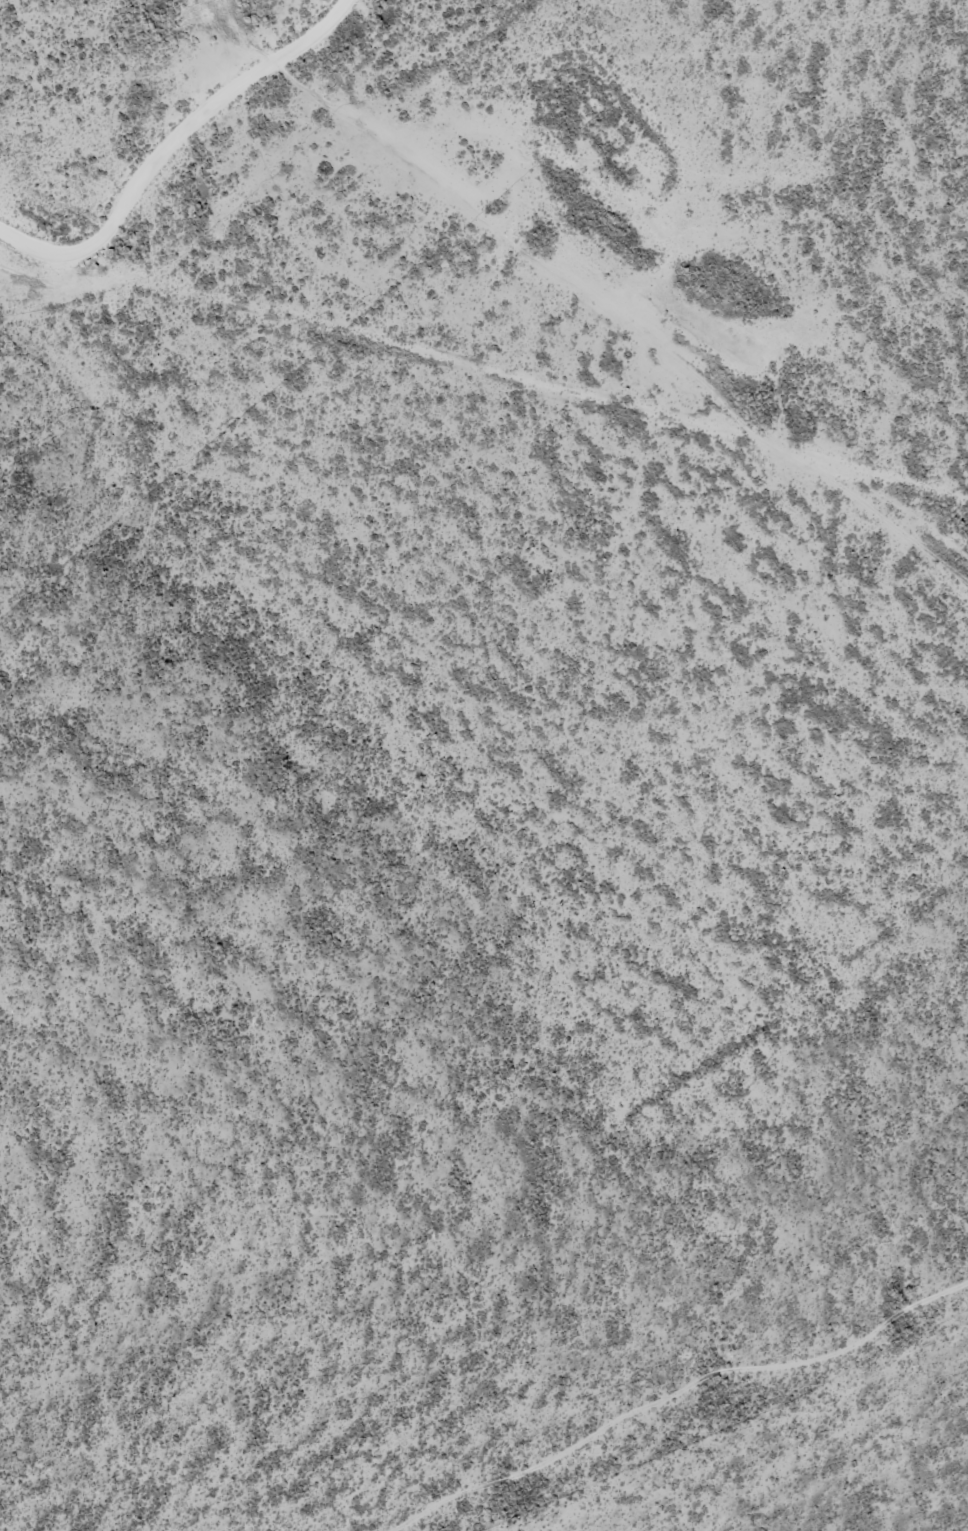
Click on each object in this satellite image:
road: (180, 153)
road: (17, 296)

